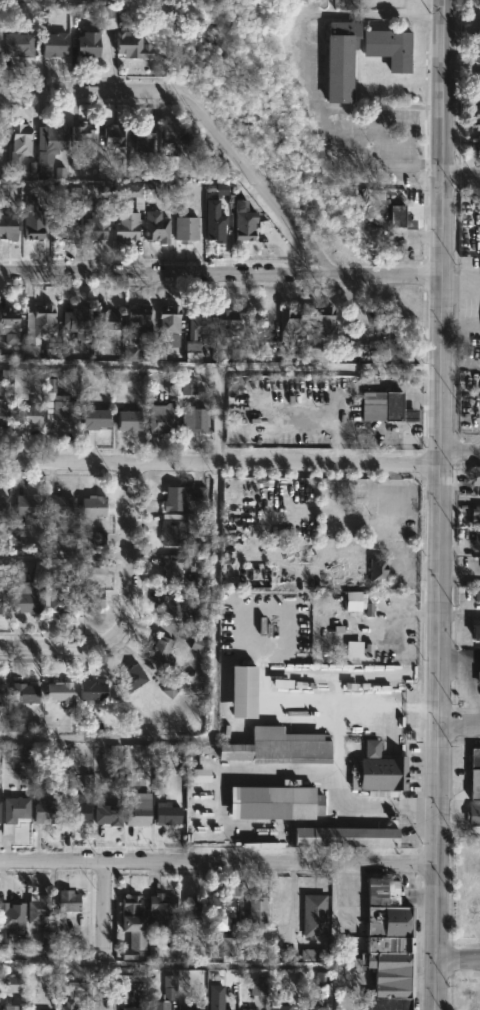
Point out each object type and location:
building: (478, 2)
building: (77, 11)
building: (108, 17)
building: (130, 42)
building: (17, 45)
building: (53, 45)
building: (88, 46)
building: (388, 48)
building: (477, 53)
building: (340, 60)
road: (309, 73)
building: (477, 83)
road: (200, 115)
building: (477, 118)
road: (383, 128)
building: (82, 131)
building: (112, 136)
building: (19, 138)
building: (142, 138)
building: (173, 138)
building: (48, 147)
building: (477, 147)
road: (461, 175)
building: (53, 193)
building: (138, 194)
building: (400, 218)
building: (31, 219)
building: (213, 222)
building: (243, 222)
building: (62, 225)
building: (96, 226)
building: (125, 227)
building: (7, 228)
building: (155, 229)
building: (184, 229)
road: (221, 273)
road: (474, 302)
building: (76, 318)
building: (42, 320)
building: (106, 320)
building: (7, 321)
building: (168, 321)
building: (291, 321)
building: (323, 322)
building: (137, 323)
building: (229, 327)
building: (196, 330)
building: (347, 349)
building: (31, 352)
building: (130, 354)
building: (316, 356)
building: (188, 387)
road: (356, 387)
road: (410, 400)
building: (59, 406)
building: (385, 408)
building: (3, 412)
building: (29, 415)
road: (410, 416)
building: (94, 419)
building: (161, 420)
building: (192, 420)
building: (128, 421)
road: (372, 431)
road: (441, 431)
road: (406, 443)
road: (460, 450)
road: (220, 463)
building: (475, 476)
building: (182, 496)
building: (3, 504)
building: (28, 504)
building: (60, 504)
building: (92, 507)
building: (476, 515)
building: (171, 531)
building: (477, 538)
building: (98, 539)
road: (65, 552)
building: (174, 566)
building: (98, 567)
building: (378, 569)
building: (257, 578)
building: (22, 590)
building: (477, 595)
building: (91, 596)
building: (2, 599)
building: (60, 602)
building: (358, 602)
building: (171, 603)
road: (128, 611)
building: (477, 631)
building: (353, 649)
building: (161, 650)
building: (131, 677)
building: (478, 678)
building: (92, 689)
building: (169, 689)
building: (243, 690)
building: (60, 691)
building: (25, 692)
building: (2, 694)
road: (213, 703)
road: (459, 726)
building: (278, 746)
road: (338, 760)
building: (23, 761)
building: (379, 773)
building: (475, 774)
building: (199, 776)
building: (274, 802)
building: (139, 808)
building: (12, 812)
building: (47, 812)
building: (76, 812)
building: (168, 814)
building: (473, 814)
building: (108, 815)
road: (458, 835)
building: (343, 837)
road: (218, 861)
building: (67, 901)
building: (224, 907)
building: (191, 908)
building: (37, 909)
building: (161, 911)
building: (257, 914)
road: (436, 914)
building: (314, 915)
building: (11, 918)
building: (132, 925)
road: (105, 934)
building: (47, 938)
building: (388, 946)
building: (228, 947)
building: (310, 954)
road: (52, 963)
road: (458, 964)
building: (320, 979)
building: (15, 984)
road: (435, 987)
building: (168, 988)
building: (257, 988)
building: (216, 997)
building: (309, 1005)
building: (67, 1006)
building: (158, 1006)
building: (279, 1006)
building: (10, 1007)
building: (188, 1007)
building: (132, 1008)
building: (252, 1009)

